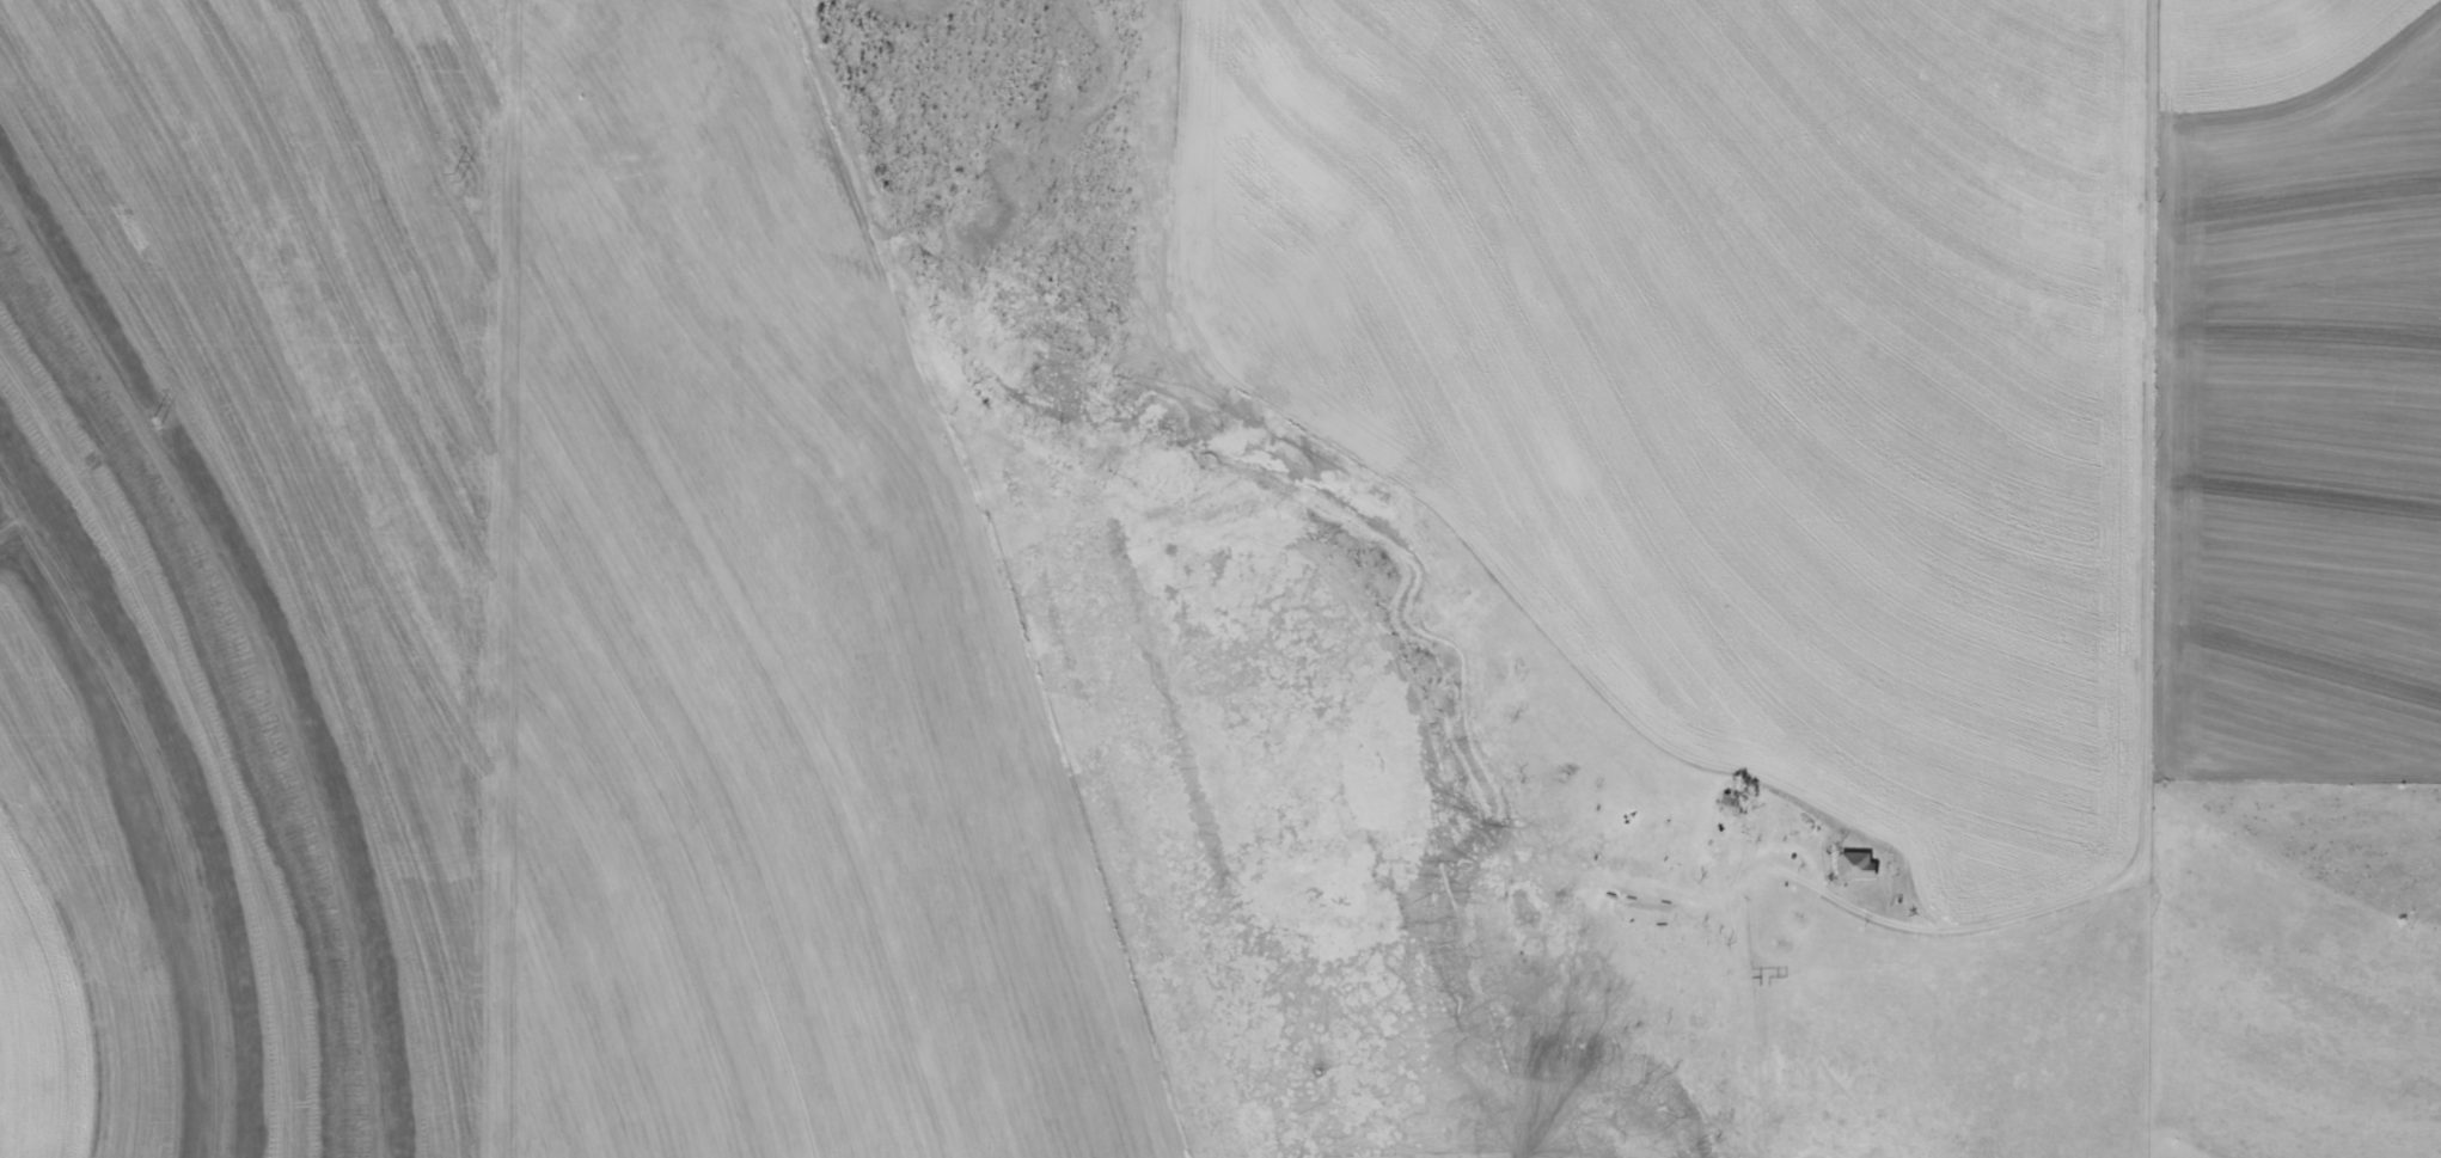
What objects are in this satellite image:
power tower: (457, 182)
power tower: (163, 418)
road: (2152, 592)
building: (1856, 863)

